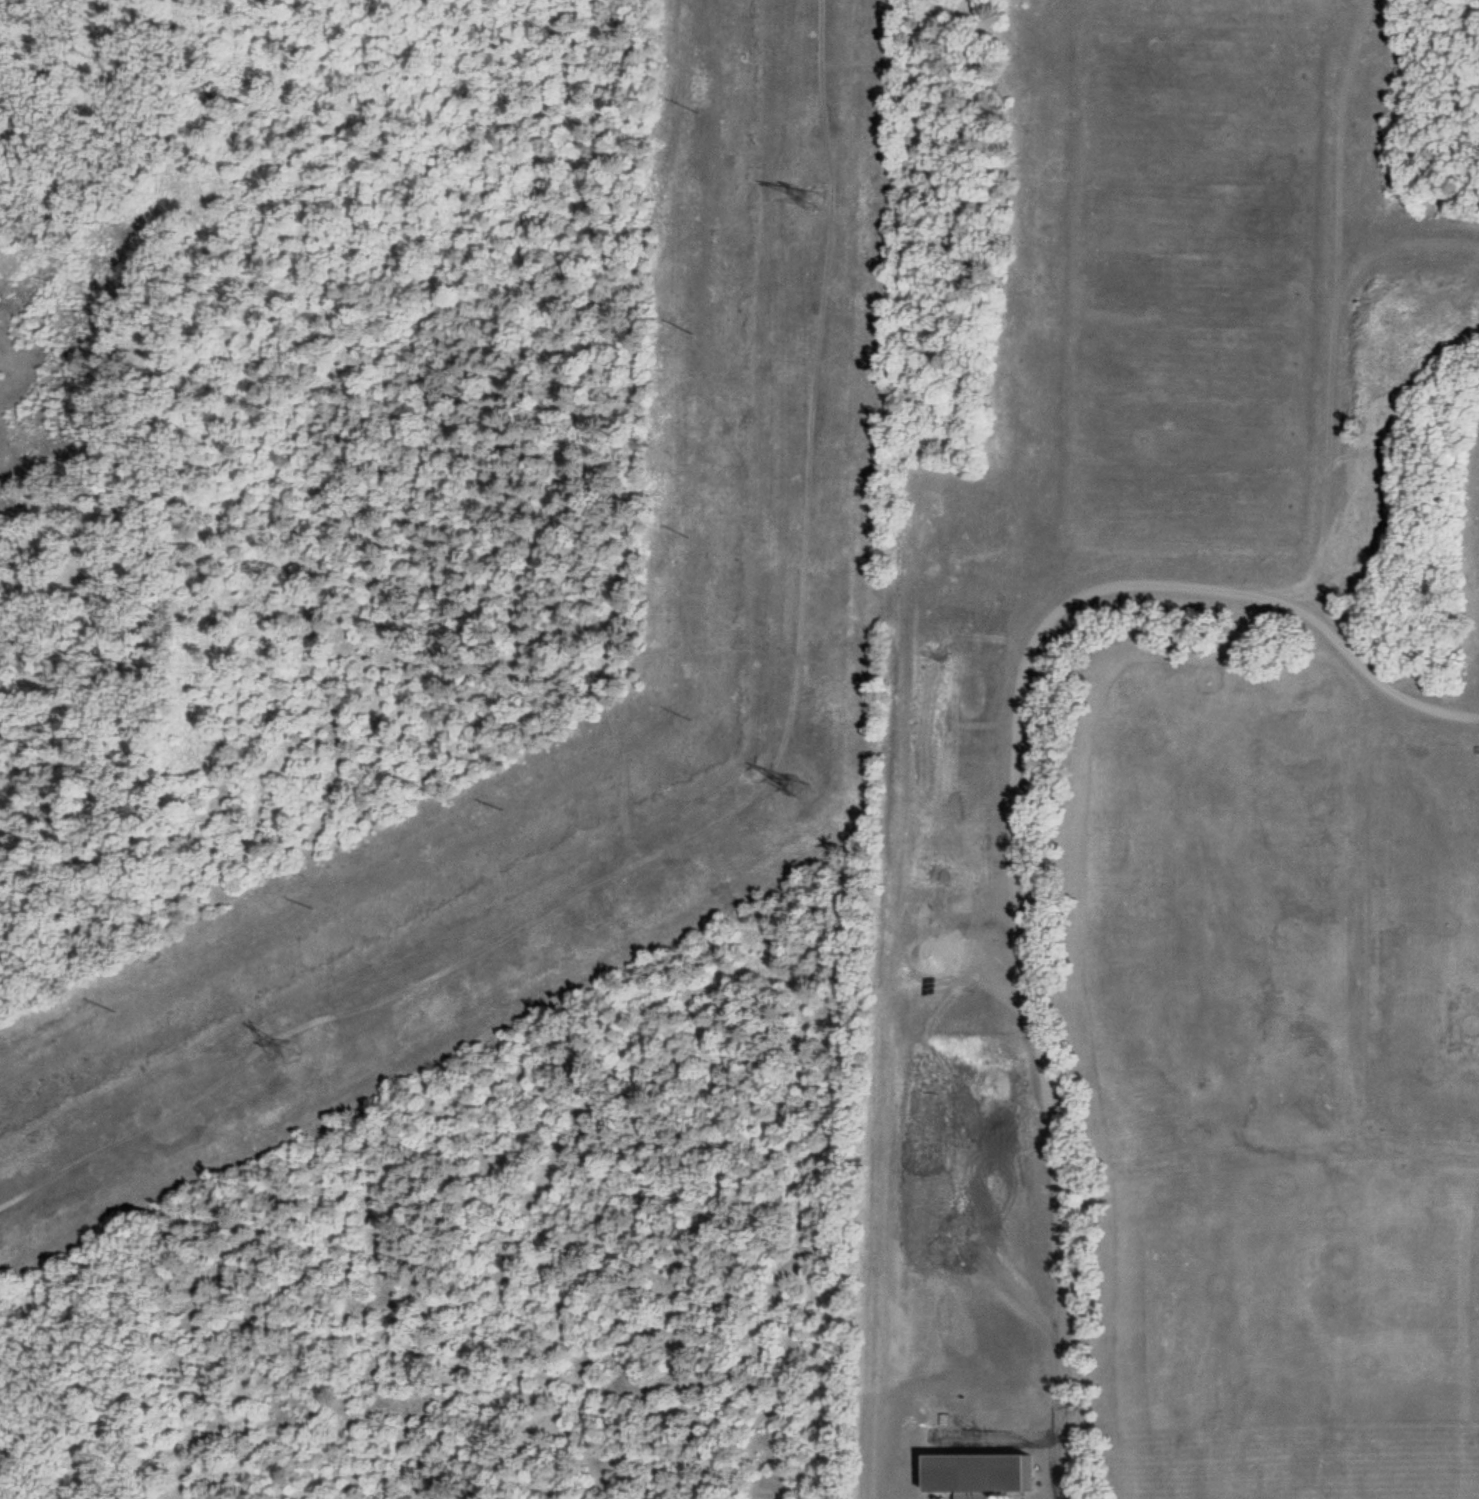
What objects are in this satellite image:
power tower: (810, 200)
landfill: (1166, 758)
power tower: (799, 786)
road: (1009, 818)
power tower: (286, 1050)
building: (978, 1472)

